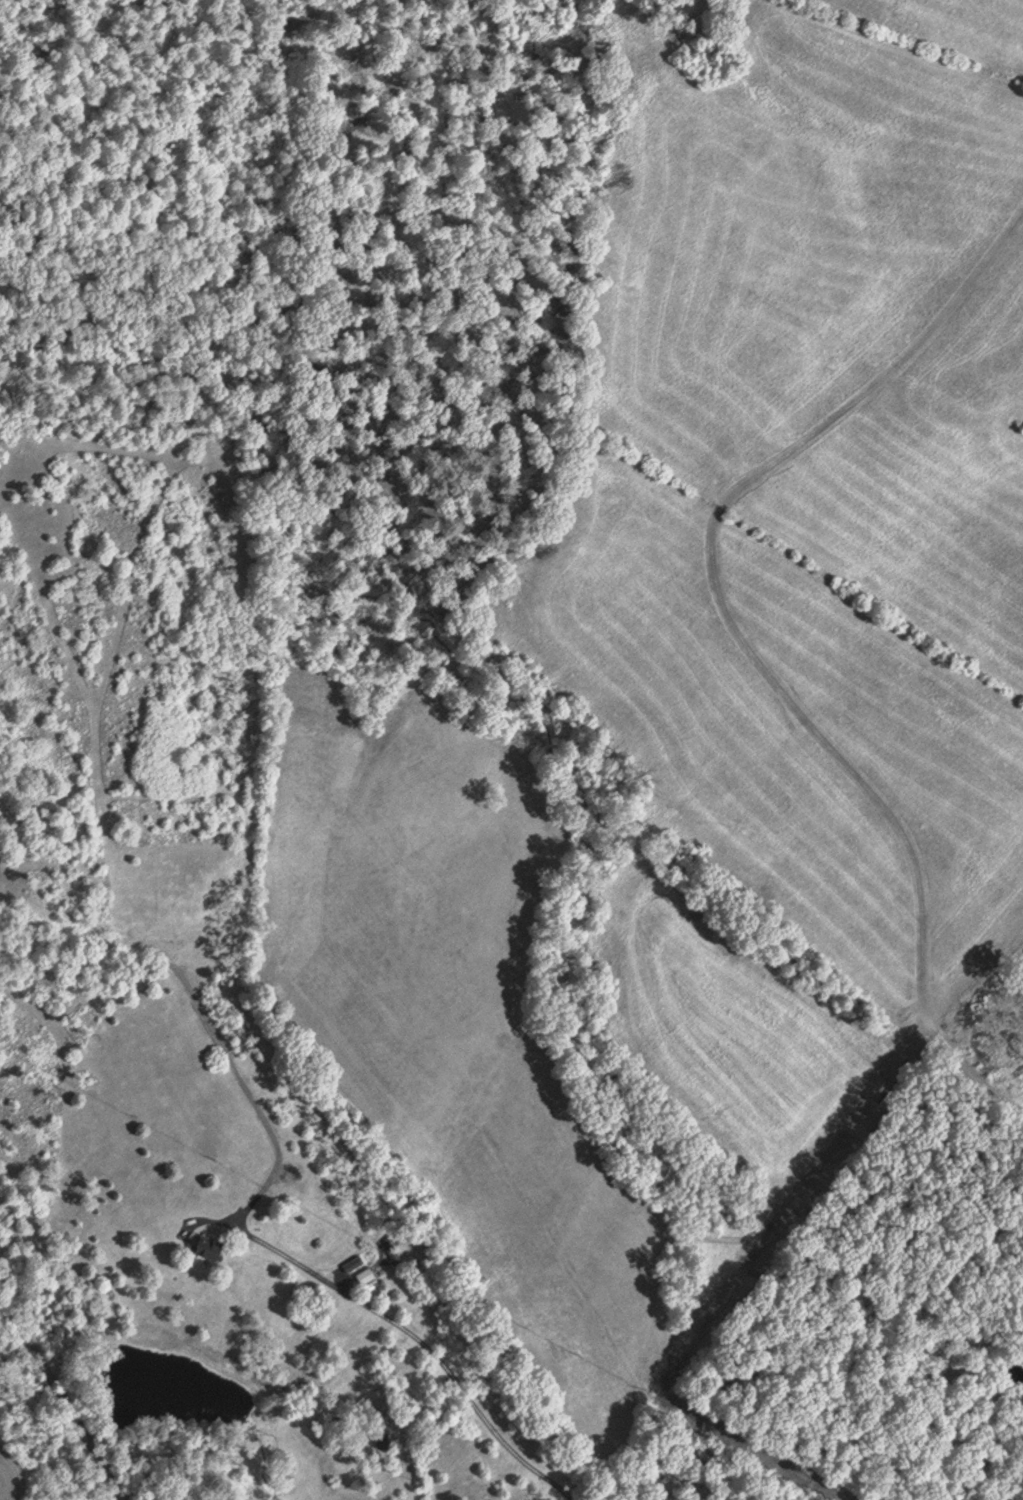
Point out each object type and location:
building: (362, 1275)
road: (64, 1402)

